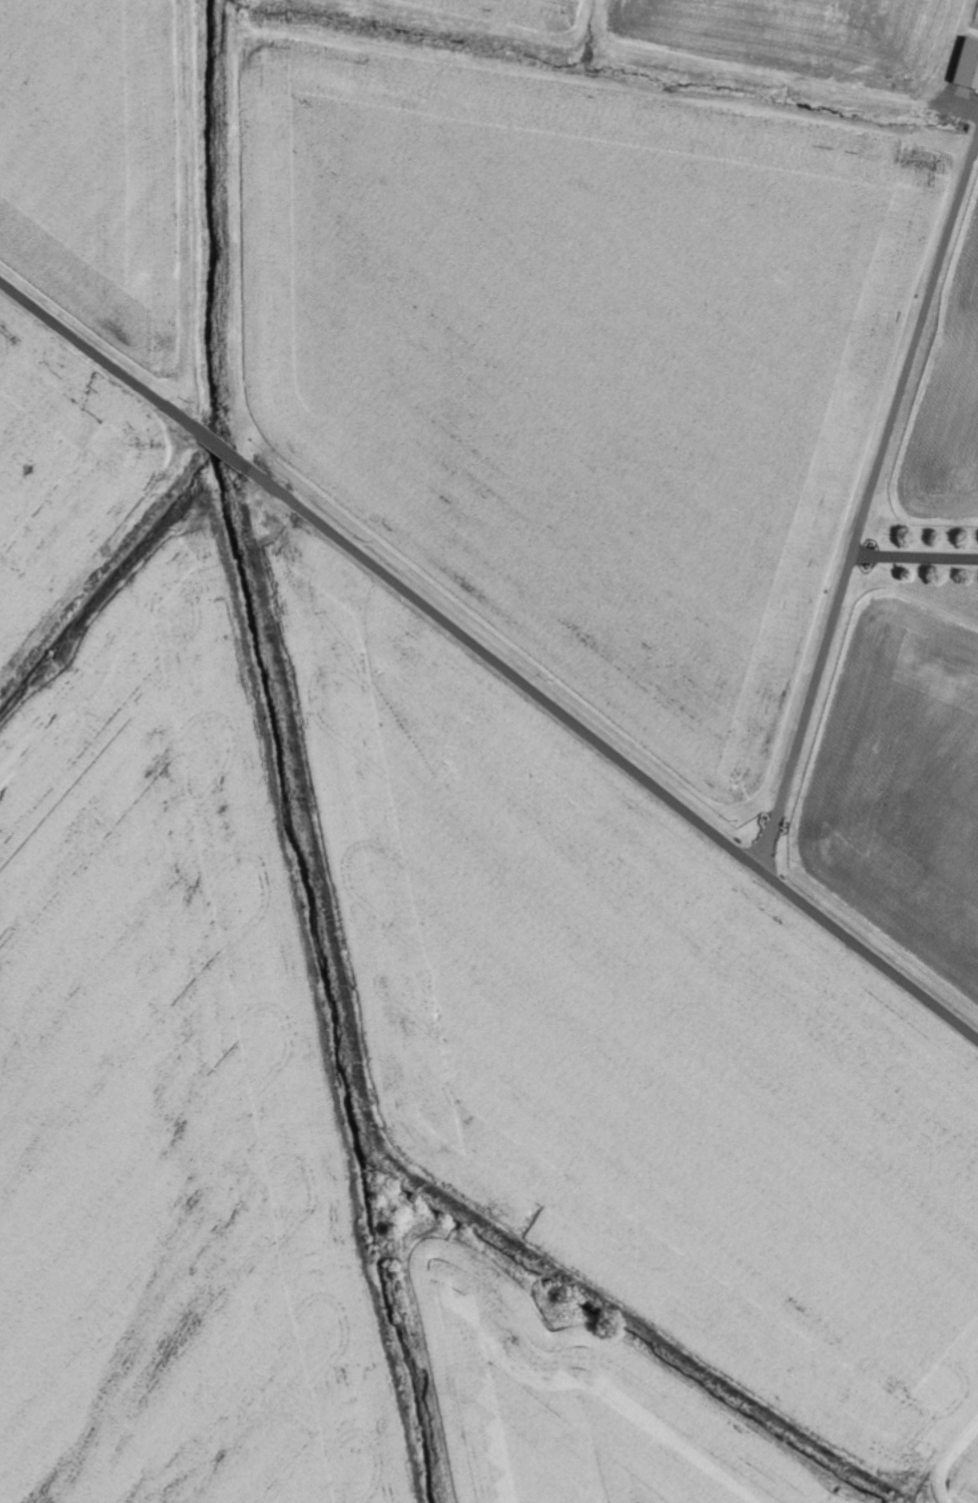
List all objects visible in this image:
building: (966, 66)
road: (867, 501)
road: (915, 556)
road: (489, 658)

